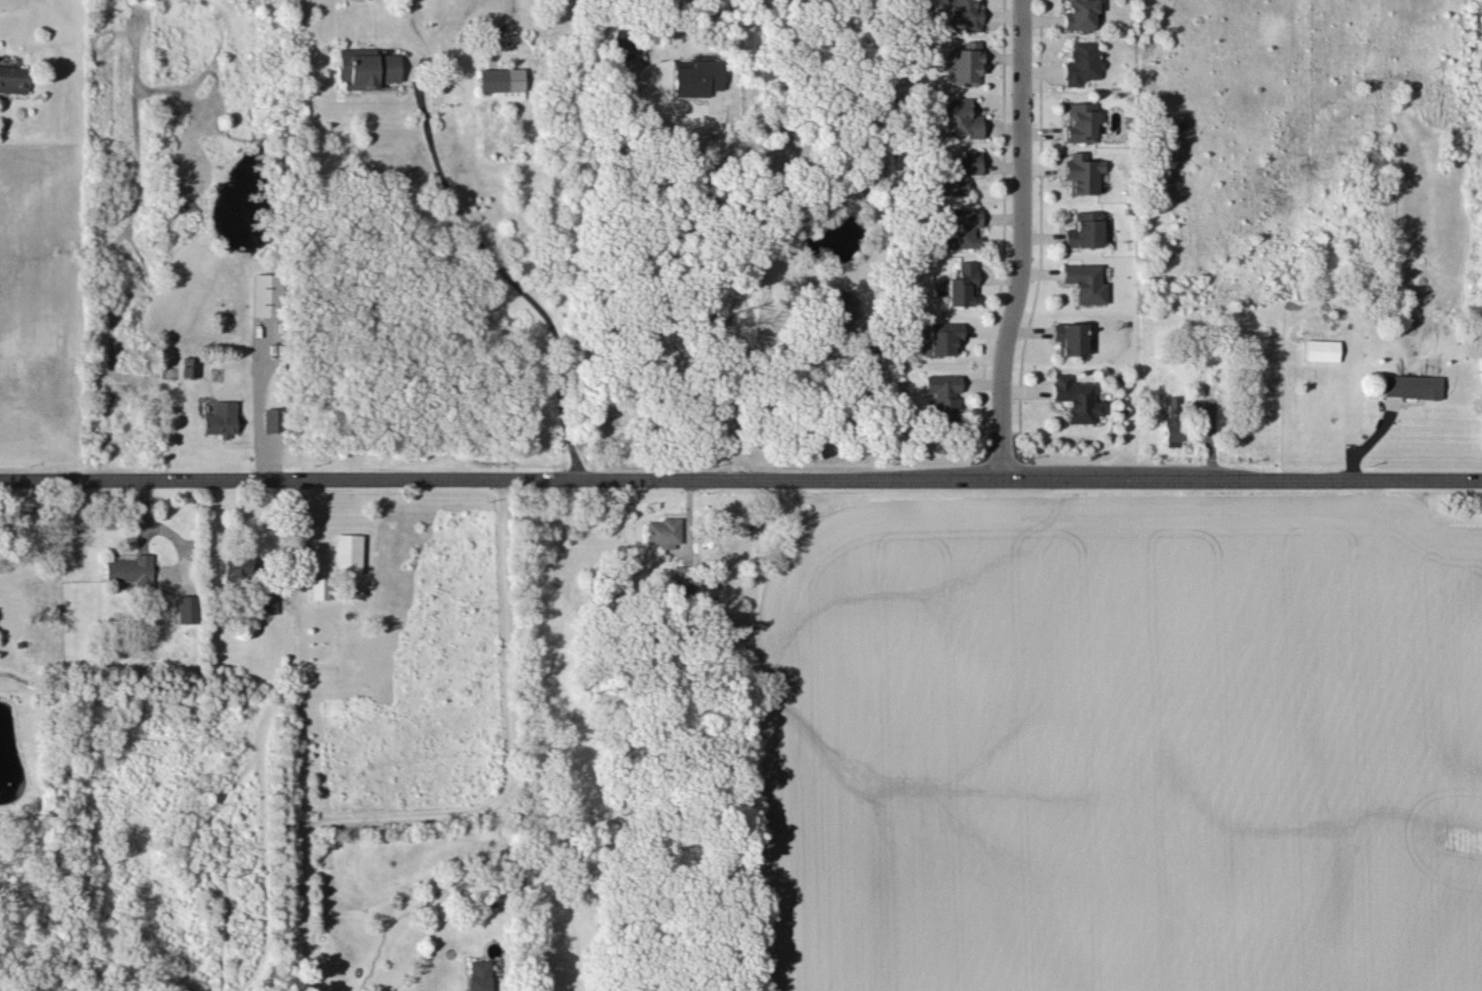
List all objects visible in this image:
building: (965, 13)
building: (1079, 14)
building: (619, 43)
building: (1081, 62)
building: (966, 63)
building: (365, 67)
building: (697, 77)
building: (12, 78)
building: (501, 81)
building: (1080, 120)
building: (958, 171)
building: (1081, 172)
building: (1084, 229)
road: (704, 233)
road: (1024, 240)
road: (489, 254)
building: (1085, 281)
building: (961, 284)
building: (265, 294)
building: (841, 309)
building: (1069, 337)
building: (942, 338)
building: (1321, 349)
building: (189, 365)
road: (783, 366)
building: (1412, 385)
building: (942, 394)
building: (1076, 398)
road: (257, 401)
building: (220, 418)
building: (272, 419)
building: (1172, 421)
road: (733, 422)
road: (740, 477)
building: (663, 531)
road: (290, 543)
building: (346, 553)
building: (236, 564)
building: (129, 568)
building: (317, 587)
building: (704, 590)
building: (266, 603)
building: (187, 608)
road: (484, 808)
building: (478, 974)

